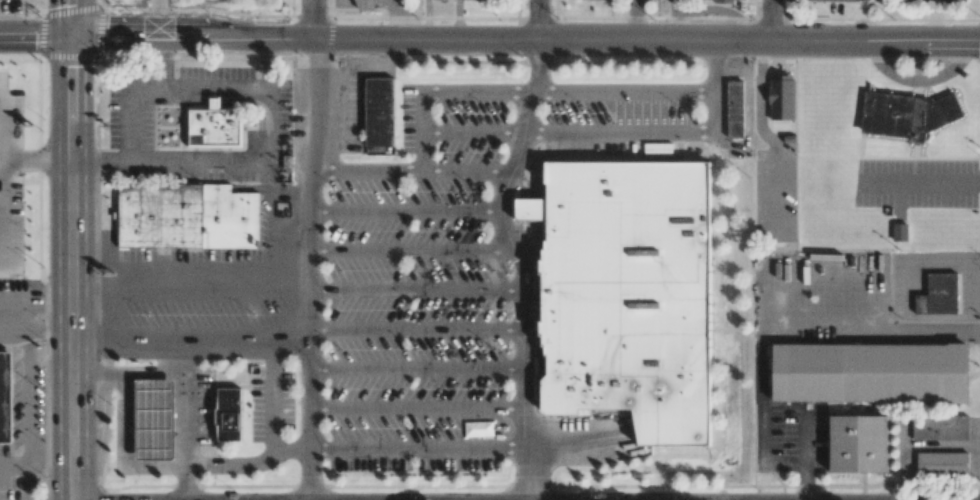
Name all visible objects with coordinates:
building: (833, 0)
building: (927, 0)
building: (724, 1)
road: (313, 18)
road: (543, 19)
road: (769, 19)
road: (489, 37)
traffic signals: (72, 38)
road: (716, 86)
road: (139, 93)
building: (781, 97)
building: (734, 109)
building: (380, 113)
building: (907, 114)
building: (215, 126)
road: (421, 132)
road: (469, 132)
road: (228, 157)
road: (464, 168)
road: (406, 208)
building: (183, 221)
building: (899, 232)
road: (73, 249)
road: (418, 249)
road: (524, 260)
road: (312, 268)
road: (881, 288)
road: (418, 289)
building: (938, 298)
building: (623, 302)
road: (819, 320)
road: (417, 327)
road: (417, 367)
building: (863, 379)
building: (6, 396)
road: (416, 408)
building: (153, 419)
building: (225, 421)
building: (937, 433)
road: (416, 448)
building: (852, 451)
road: (805, 457)
building: (938, 470)

